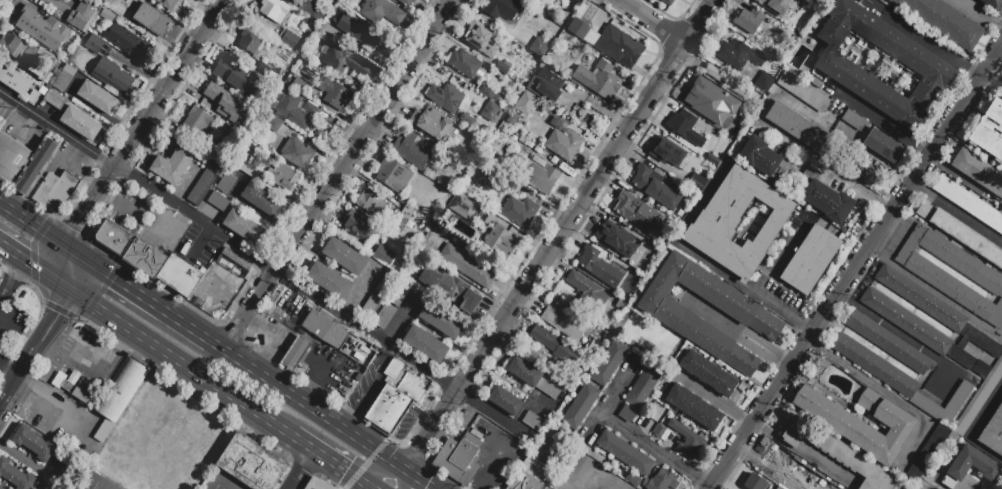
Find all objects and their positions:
building: (125, 0)
building: (889, 0)
building: (406, 1)
building: (667, 2)
building: (167, 3)
building: (992, 4)
building: (775, 6)
building: (273, 9)
building: (310, 9)
building: (381, 12)
building: (501, 12)
road: (980, 13)
building: (80, 16)
building: (107, 16)
building: (152, 20)
road: (651, 21)
building: (749, 21)
building: (944, 21)
building: (42, 29)
building: (329, 30)
building: (358, 32)
building: (484, 40)
building: (128, 42)
building: (249, 42)
building: (291, 43)
building: (610, 43)
road: (930, 44)
building: (94, 45)
building: (538, 48)
building: (29, 54)
building: (738, 54)
building: (342, 60)
building: (465, 64)
building: (838, 68)
building: (504, 69)
building: (229, 74)
building: (111, 77)
building: (63, 78)
building: (14, 79)
building: (598, 80)
building: (763, 81)
building: (728, 84)
building: (815, 84)
building: (299, 85)
road: (991, 85)
building: (545, 86)
building: (803, 92)
building: (487, 93)
building: (212, 94)
building: (252, 94)
building: (334, 94)
building: (34, 96)
building: (704, 96)
building: (97, 97)
road: (162, 97)
building: (446, 97)
building: (497, 98)
building: (55, 100)
building: (525, 103)
building: (297, 110)
building: (491, 114)
building: (512, 120)
building: (197, 121)
building: (468, 121)
building: (854, 121)
road: (881, 122)
building: (80, 123)
building: (431, 123)
building: (273, 124)
building: (1, 125)
building: (237, 125)
building: (725, 126)
building: (685, 127)
building: (989, 130)
building: (804, 131)
building: (218, 144)
building: (563, 144)
building: (530, 145)
building: (883, 146)
building: (536, 149)
building: (411, 150)
building: (666, 152)
building: (297, 153)
building: (765, 158)
building: (713, 159)
building: (11, 160)
road: (824, 165)
building: (172, 166)
building: (36, 167)
building: (248, 171)
building: (567, 171)
building: (863, 171)
building: (978, 172)
building: (394, 174)
building: (539, 175)
building: (283, 176)
road: (339, 176)
building: (698, 179)
building: (226, 183)
building: (201, 187)
building: (654, 188)
building: (55, 192)
road: (585, 195)
building: (823, 196)
building: (260, 200)
building: (218, 202)
building: (969, 203)
road: (118, 206)
building: (372, 206)
building: (462, 207)
building: (424, 210)
building: (635, 210)
road: (956, 212)
building: (520, 214)
building: (404, 222)
building: (737, 223)
traffic signals: (79, 225)
building: (358, 225)
road: (36, 226)
building: (243, 227)
building: (959, 232)
road: (74, 237)
building: (113, 237)
building: (616, 239)
building: (501, 241)
road: (200, 243)
building: (343, 257)
building: (383, 257)
building: (145, 258)
building: (811, 260)
road: (259, 262)
traffic signals: (29, 263)
building: (234, 264)
road: (34, 265)
building: (467, 266)
road: (856, 266)
building: (599, 267)
building: (179, 276)
building: (982, 276)
road: (12, 277)
traffic signals: (114, 278)
building: (329, 280)
building: (385, 284)
building: (450, 289)
road: (745, 289)
building: (587, 292)
building: (400, 294)
road: (141, 295)
building: (371, 306)
building: (935, 309)
traffic signals: (60, 315)
building: (384, 317)
building: (674, 317)
road: (11, 320)
building: (440, 321)
building: (565, 323)
road: (260, 328)
building: (326, 328)
road: (890, 329)
building: (920, 331)
road: (735, 332)
road: (308, 337)
building: (889, 343)
building: (425, 344)
building: (554, 345)
road: (38, 349)
building: (295, 352)
gas station: (295, 352)
building: (657, 353)
road: (178, 360)
building: (608, 362)
road: (11, 365)
building: (823, 365)
building: (682, 370)
road: (91, 377)
building: (532, 377)
building: (74, 378)
building: (58, 380)
building: (900, 380)
building: (643, 385)
building: (933, 385)
road: (367, 388)
building: (722, 391)
building: (80, 392)
road: (887, 395)
building: (121, 396)
building: (395, 396)
road: (611, 399)
building: (978, 399)
building: (504, 401)
road: (716, 402)
road: (307, 405)
building: (665, 405)
building: (581, 406)
building: (693, 407)
building: (627, 414)
building: (535, 422)
building: (843, 424)
road: (973, 428)
road: (431, 430)
building: (658, 430)
building: (993, 433)
building: (684, 440)
building: (952, 441)
building: (33, 443)
road: (657, 449)
building: (624, 452)
building: (836, 452)
building: (926, 455)
road: (324, 456)
building: (460, 458)
building: (67, 460)
building: (250, 463)
road: (366, 464)
road: (29, 465)
road: (776, 465)
building: (970, 467)
road: (592, 468)
road: (300, 469)
road: (496, 469)
building: (530, 474)
building: (15, 475)
road: (382, 475)
parking lot: (582, 475)
road: (404, 479)
road: (418, 479)
building: (632, 480)
building: (662, 481)
road: (363, 482)
building: (98, 483)
road: (228, 483)
building: (316, 484)
building: (756, 484)
road: (365, 487)
road: (369, 487)
building: (1, 488)
building: (547, 488)
building: (933, 488)

